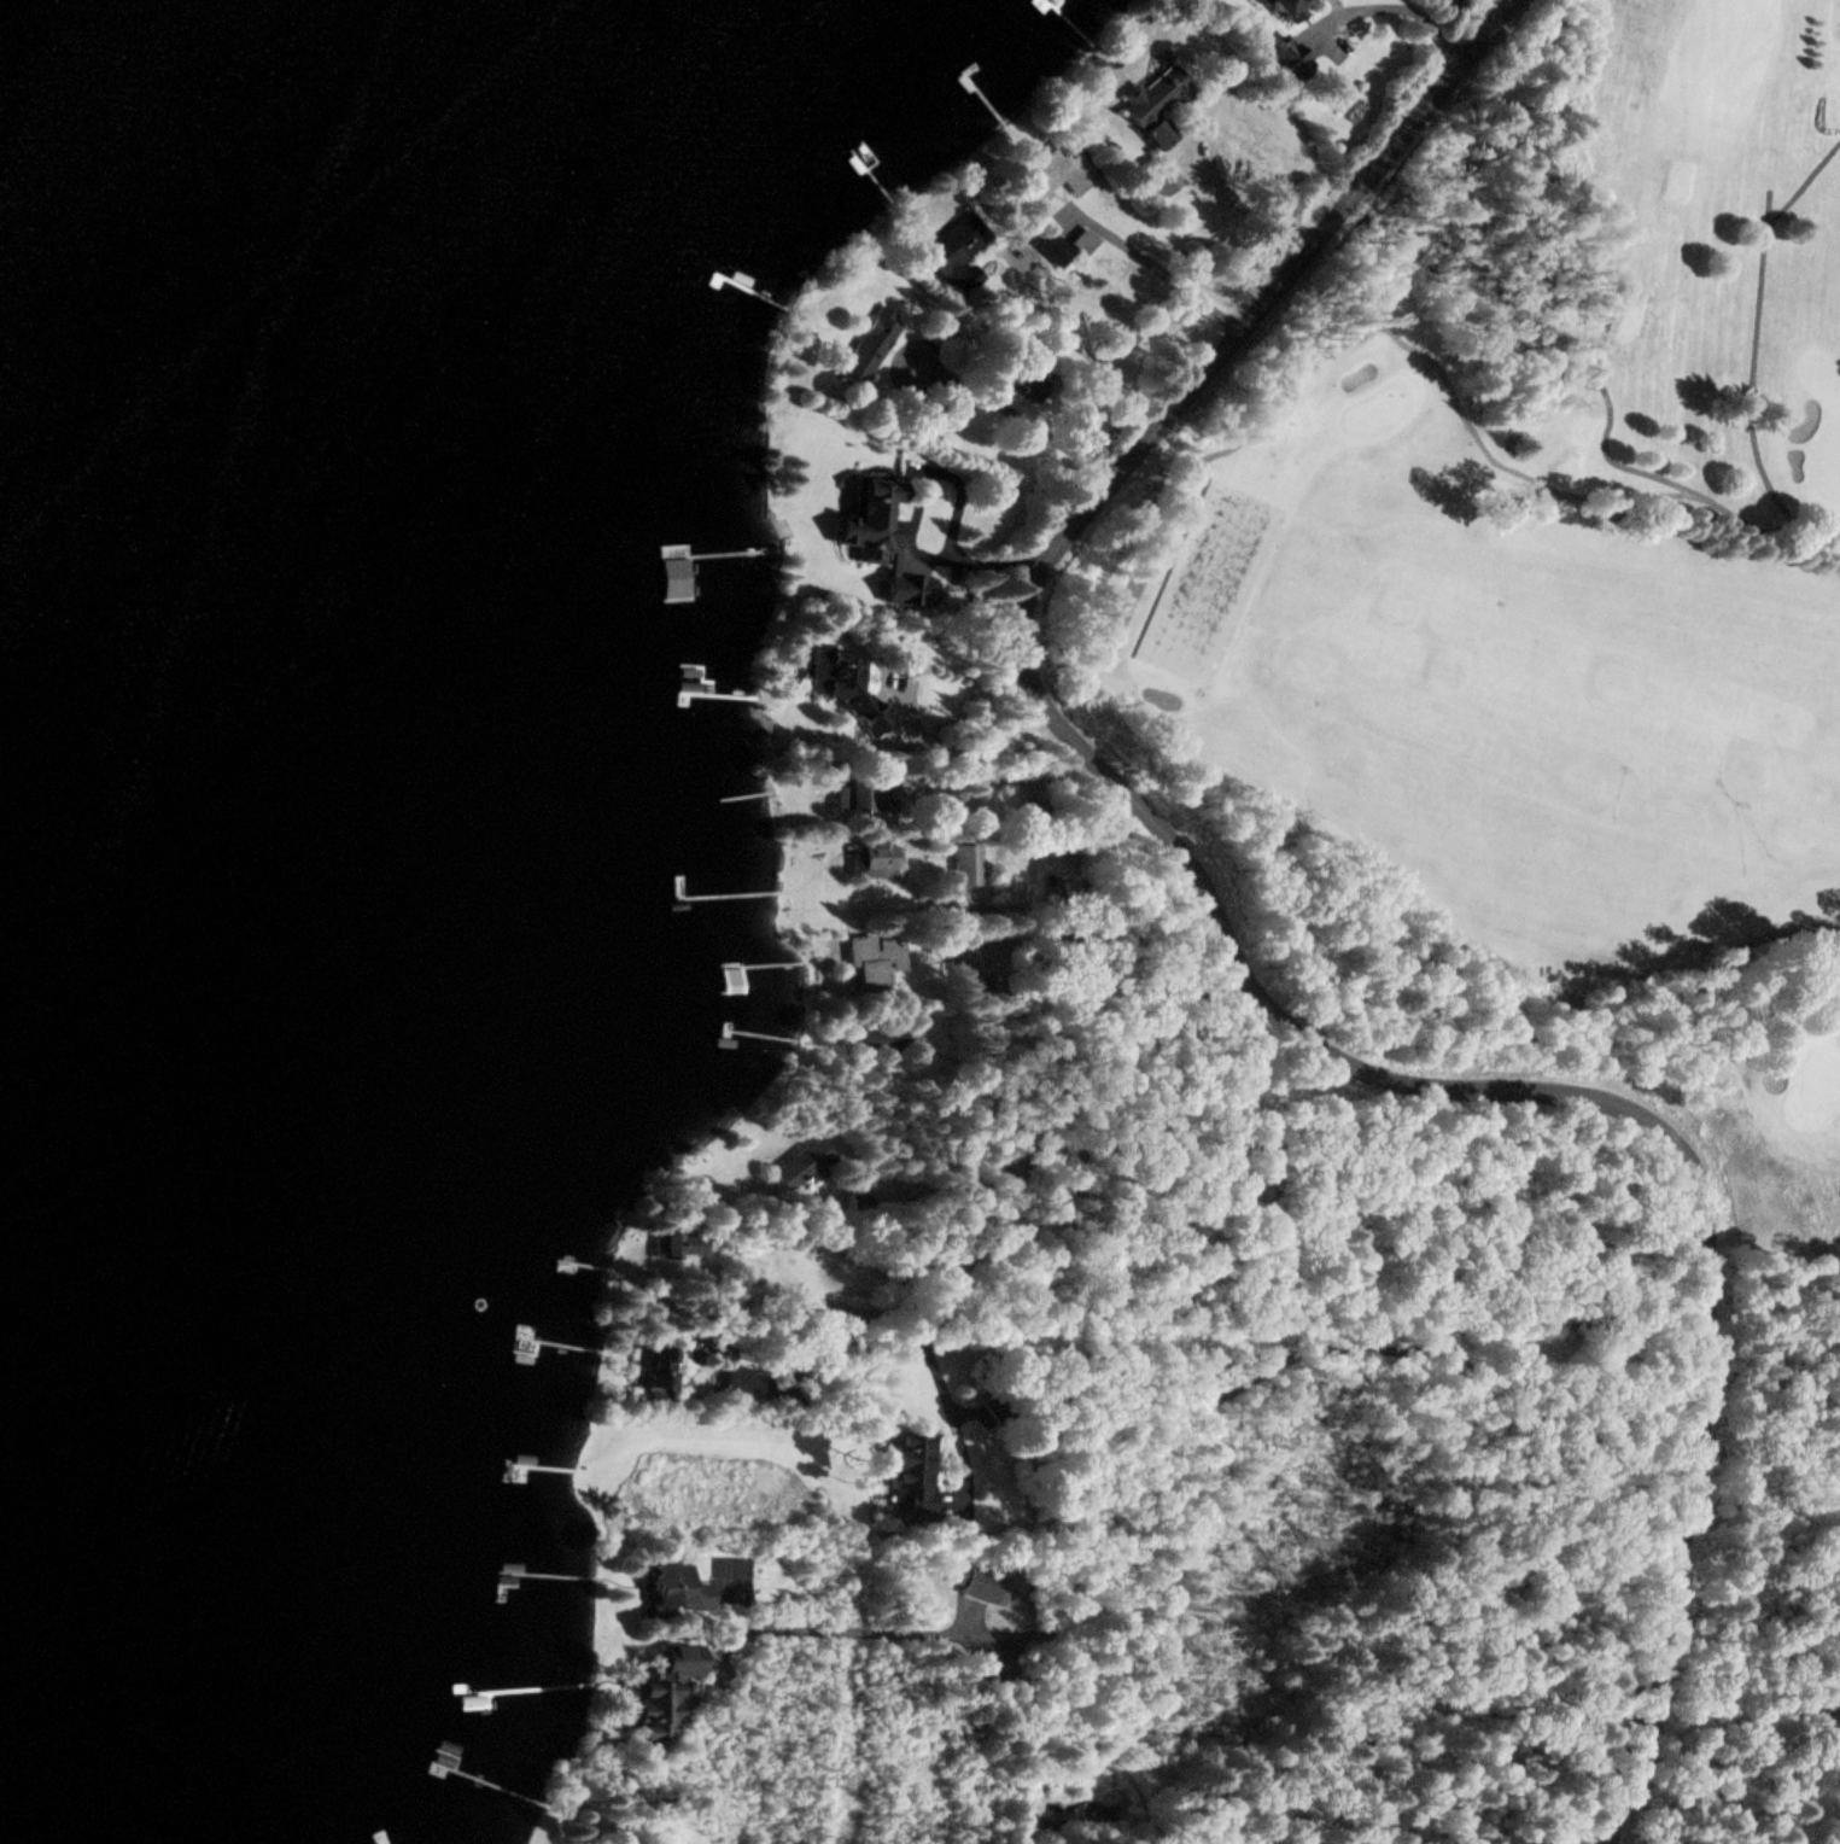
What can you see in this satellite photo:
building: (1287, 7)
building: (1287, 59)
building: (1153, 94)
building: (1160, 133)
building: (1052, 175)
building: (1082, 240)
building: (1051, 247)
building: (956, 253)
building: (865, 349)
park: (1579, 497)
building: (866, 514)
building: (860, 716)
building: (859, 793)
building: (875, 857)
building: (872, 959)
road: (1237, 974)
building: (880, 1038)
road: (1047, 1124)
building: (801, 1166)
building: (677, 1244)
building: (659, 1372)
building: (911, 1472)
building: (982, 1586)
building: (678, 1588)
building: (666, 1693)
road: (1187, 1722)
building: (372, 1843)

